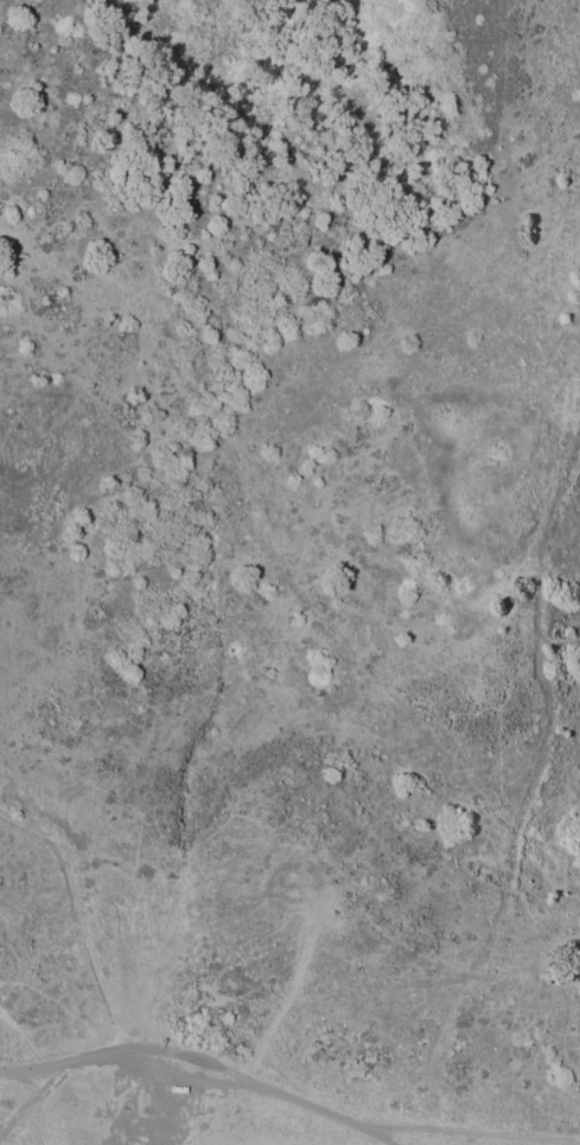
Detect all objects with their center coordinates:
road: (269, 1088)

